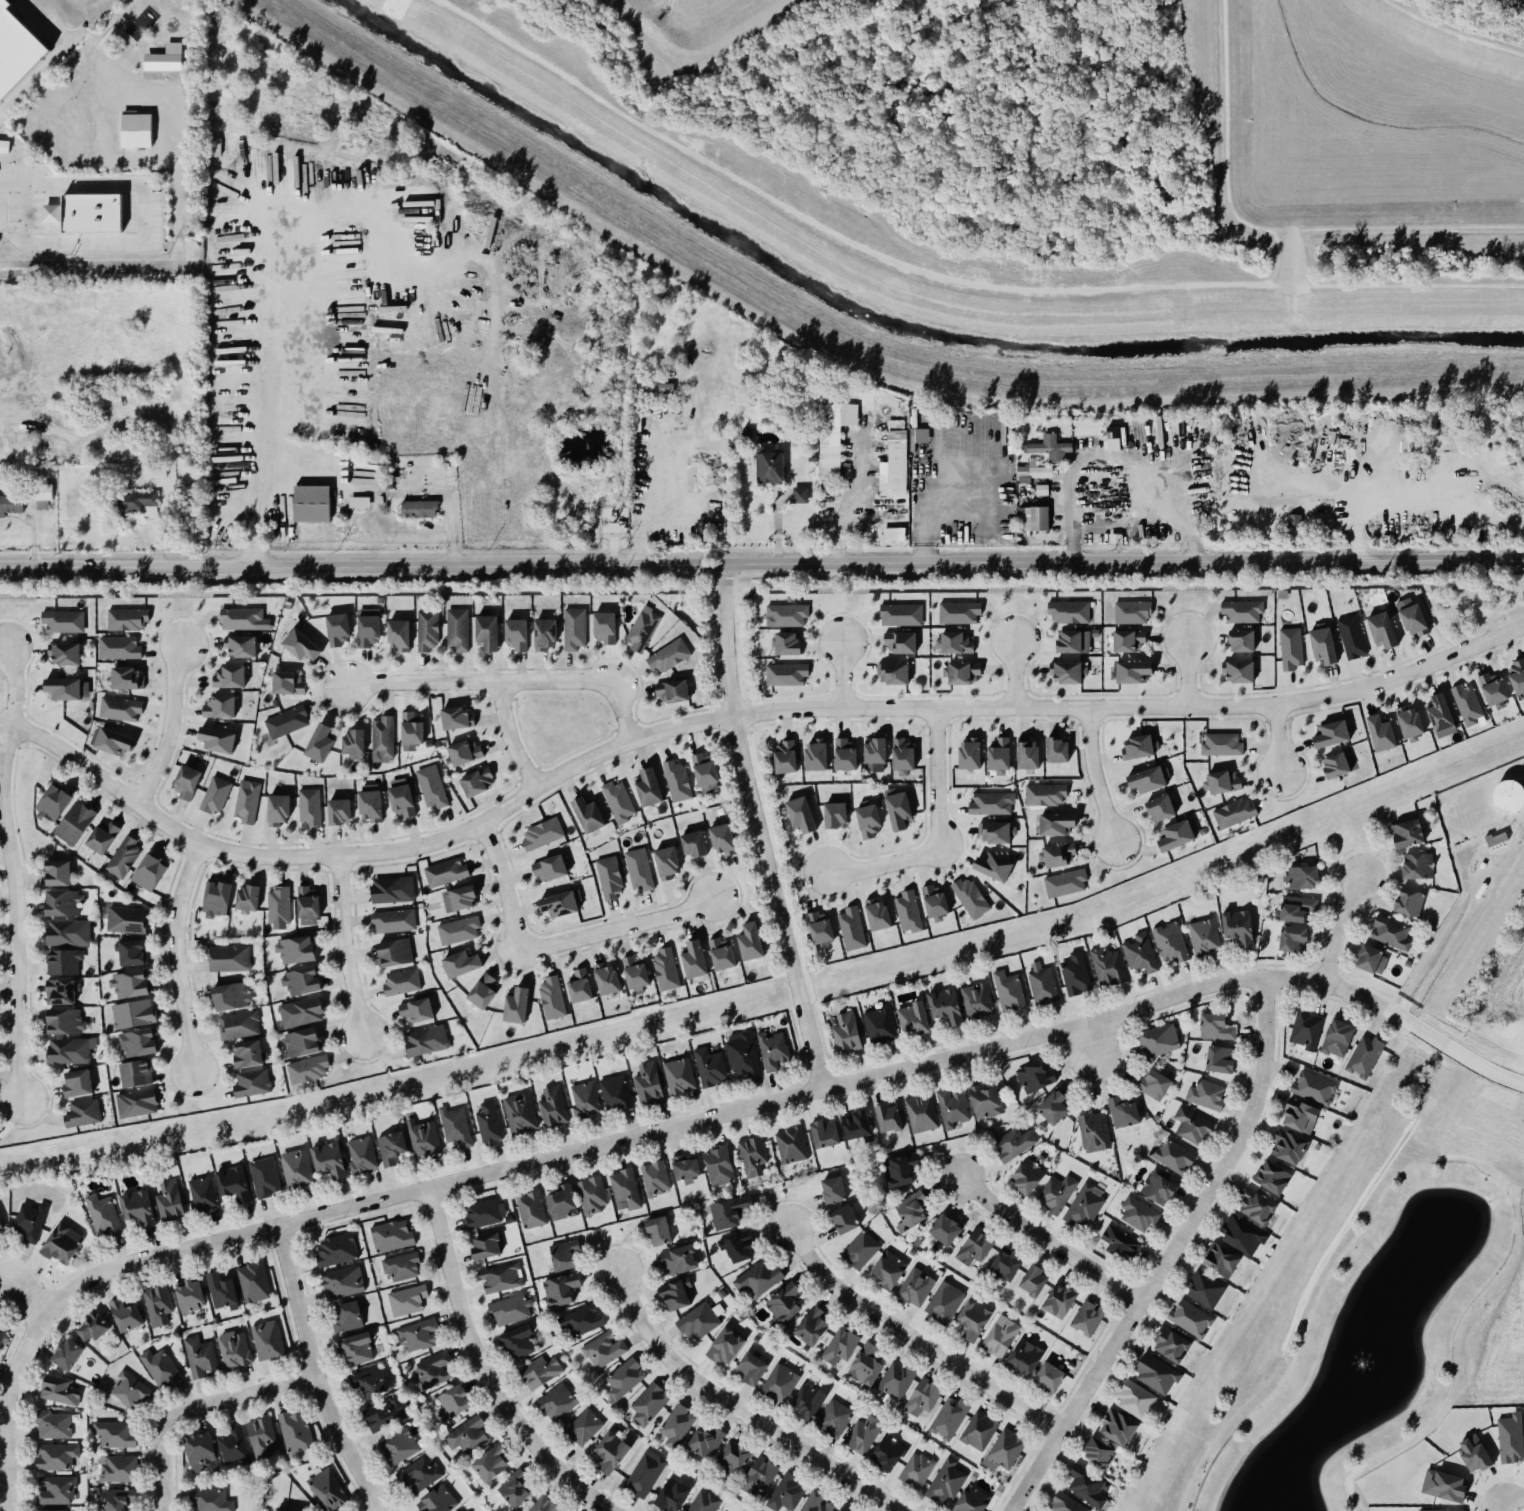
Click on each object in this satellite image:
building: (16, 50)
building: (164, 58)
road: (160, 95)
building: (136, 129)
building: (4, 146)
building: (212, 147)
road: (146, 190)
building: (52, 213)
building: (91, 213)
road: (24, 214)
road: (32, 243)
road: (99, 270)
road: (272, 384)
building: (657, 387)
road: (6, 408)
building: (849, 414)
building: (922, 435)
building: (1113, 438)
building: (829, 441)
building: (1049, 448)
road: (1115, 460)
building: (895, 463)
building: (769, 467)
building: (156, 469)
building: (1032, 471)
road: (655, 494)
building: (800, 495)
building: (42, 496)
building: (133, 501)
building: (358, 502)
road: (847, 502)
building: (312, 503)
building: (11, 504)
building: (418, 509)
building: (1033, 518)
building: (891, 533)
road: (761, 564)
building: (1241, 611)
building: (958, 612)
building: (1069, 612)
building: (1131, 612)
building: (901, 614)
building: (786, 615)
building: (1411, 617)
building: (126, 619)
building: (243, 619)
building: (63, 621)
building: (368, 627)
building: (604, 627)
building: (642, 628)
building: (337, 629)
building: (457, 629)
building: (574, 629)
building: (1382, 629)
building: (427, 631)
building: (487, 632)
building: (516, 634)
building: (399, 635)
building: (545, 635)
building: (1351, 637)
building: (1128, 640)
building: (1241, 640)
building: (901, 641)
building: (1073, 641)
building: (788, 643)
building: (956, 643)
building: (301, 645)
building: (1323, 645)
building: (241, 646)
building: (118, 648)
building: (1291, 648)
building: (64, 653)
building: (668, 656)
building: (1133, 671)
building: (1239, 671)
building: (1068, 672)
building: (894, 673)
building: (963, 673)
road: (1014, 673)
road: (1185, 673)
building: (786, 674)
road: (839, 674)
building: (229, 676)
building: (1516, 676)
building: (126, 678)
building: (287, 682)
road: (507, 685)
building: (63, 688)
building: (1492, 688)
road: (16, 689)
building: (672, 691)
building: (1467, 704)
building: (219, 706)
building: (120, 709)
road: (735, 716)
building: (1440, 716)
building: (456, 718)
building: (286, 722)
building: (1410, 723)
road: (171, 727)
building: (411, 730)
building: (1380, 733)
building: (1331, 734)
road: (1278, 738)
building: (217, 739)
building: (382, 739)
road: (507, 739)
building: (113, 742)
building: (320, 742)
building: (353, 744)
building: (1221, 744)
building: (1140, 747)
building: (1057, 749)
building: (464, 752)
building: (845, 754)
building: (969, 754)
building: (1027, 754)
building: (815, 755)
building: (874, 755)
building: (902, 755)
building: (998, 755)
building: (785, 757)
building: (1335, 765)
building: (705, 773)
road: (1094, 777)
building: (1146, 780)
building: (677, 781)
building: (1223, 781)
building: (186, 782)
building: (477, 782)
building: (431, 787)
building: (648, 788)
building: (1044, 794)
building: (215, 795)
building: (1509, 796)
building: (401, 797)
building: (247, 801)
building: (618, 801)
building: (53, 803)
building: (370, 803)
building: (989, 804)
building: (309, 806)
building: (1160, 808)
building: (278, 810)
building: (898, 810)
building: (338, 811)
building: (1233, 813)
building: (800, 814)
building: (588, 815)
building: (835, 815)
building: (868, 820)
building: (74, 823)
building: (1056, 823)
road: (756, 830)
building: (997, 832)
building: (1407, 833)
building: (542, 834)
building: (1175, 835)
building: (102, 836)
building: (1496, 838)
building: (722, 839)
road: (942, 840)
building: (693, 844)
building: (1058, 855)
building: (123, 856)
building: (667, 862)
building: (1417, 866)
building: (993, 867)
building: (549, 868)
building: (638, 869)
building: (150, 871)
building: (445, 872)
building: (58, 873)
building: (609, 877)
building: (1302, 877)
building: (1065, 883)
building: (391, 889)
building: (217, 898)
building: (247, 898)
building: (459, 898)
building: (970, 898)
building: (1409, 902)
building: (63, 903)
building: (560, 903)
building: (935, 903)
building: (308, 906)
building: (278, 908)
building: (1296, 908)
building: (907, 912)
road: (18, 914)
building: (877, 914)
building: (126, 920)
building: (393, 921)
building: (1238, 926)
building: (851, 928)
road: (1341, 929)
building: (458, 930)
building: (820, 930)
building: (68, 932)
building: (1391, 933)
building: (1204, 937)
building: (1292, 937)
building: (750, 942)
building: (1170, 942)
road: (1442, 942)
road: (551, 945)
road: (346, 948)
building: (295, 950)
building: (394, 952)
building: (132, 953)
building: (721, 953)
building: (1139, 953)
building: (229, 958)
road: (180, 959)
building: (1368, 959)
building: (694, 960)
building: (63, 961)
building: (460, 964)
building: (1107, 967)
building: (665, 969)
building: (635, 973)
building: (1075, 973)
building: (606, 979)
building: (301, 981)
building: (401, 982)
building: (1042, 983)
building: (129, 984)
road: (1343, 985)
building: (579, 986)
building: (483, 991)
building: (1008, 991)
building: (61, 992)
building: (231, 996)
building: (551, 998)
building: (977, 1000)
building: (516, 1006)
building: (945, 1006)
building: (416, 1011)
building: (300, 1012)
building: (133, 1013)
building: (913, 1018)
building: (65, 1021)
building: (238, 1025)
building: (879, 1025)
building: (1215, 1027)
building: (1306, 1029)
building: (845, 1032)
building: (1337, 1038)
building: (426, 1040)
building: (1158, 1040)
road: (1094, 1041)
building: (302, 1042)
building: (138, 1043)
building: (70, 1050)
building: (772, 1050)
building: (247, 1053)
building: (743, 1055)
building: (1364, 1056)
building: (1219, 1059)
road: (1462, 1059)
building: (710, 1067)
building: (307, 1069)
building: (135, 1073)
building: (679, 1076)
building: (1034, 1077)
building: (648, 1082)
building: (77, 1083)
building: (251, 1083)
building: (1151, 1084)
building: (1314, 1088)
building: (615, 1092)
building: (1206, 1094)
building: (585, 1099)
building: (985, 1102)
building: (136, 1103)
building: (552, 1107)
building: (1053, 1107)
building: (952, 1108)
building: (1123, 1112)
building: (82, 1113)
building: (519, 1113)
building: (921, 1113)
building: (1300, 1116)
building: (888, 1118)
building: (488, 1122)
building: (856, 1124)
building: (1191, 1125)
building: (455, 1126)
road: (657, 1129)
building: (1094, 1132)
building: (824, 1133)
building: (423, 1138)
building: (1014, 1142)
building: (790, 1145)
building: (391, 1147)
building: (1288, 1147)
building: (361, 1154)
building: (753, 1156)
building: (1172, 1156)
building: (329, 1159)
road: (1449, 1160)
building: (718, 1166)
building: (296, 1169)
building: (686, 1169)
building: (901, 1170)
building: (1026, 1176)
building: (264, 1177)
building: (1272, 1177)
building: (654, 1178)
building: (234, 1183)
building: (1157, 1188)
building: (624, 1189)
building: (833, 1190)
building: (1056, 1192)
building: (202, 1194)
building: (592, 1194)
building: (169, 1201)
building: (562, 1203)
building: (1085, 1205)
building: (1256, 1206)
building: (138, 1207)
building: (531, 1209)
building: (729, 1211)
building: (910, 1211)
building: (483, 1213)
building: (1138, 1214)
building: (103, 1215)
building: (844, 1219)
building: (30, 1221)
building: (1, 1228)
building: (945, 1229)
building: (658, 1231)
building: (1242, 1235)
building: (392, 1236)
road: (1054, 1237)
building: (62, 1242)
building: (1120, 1243)
building: (486, 1246)
building: (737, 1246)
building: (975, 1248)
building: (336, 1250)
building: (860, 1250)
road: (1176, 1254)
building: (564, 1255)
building: (679, 1260)
building: (1221, 1261)
building: (1005, 1265)
building: (400, 1267)
building: (888, 1269)
building: (501, 1278)
building: (758, 1278)
building: (1033, 1280)
building: (343, 1281)
building: (253, 1282)
building: (915, 1287)
building: (560, 1289)
building: (1205, 1289)
building: (222, 1291)
road: (29, 1294)
building: (676, 1294)
building: (190, 1297)
building: (407, 1300)
building: (1059, 1300)
building: (943, 1302)
building: (784, 1303)
building: (157, 1304)
building: (508, 1310)
building: (125, 1315)
building: (346, 1317)
building: (1087, 1318)
building: (1190, 1318)
building: (973, 1319)
building: (581, 1320)
building: (700, 1320)
park: (1359, 1324)
building: (812, 1326)
building: (92, 1327)
road: (914, 1331)
building: (2, 1332)
building: (418, 1334)
building: (1000, 1336)
building: (267, 1341)
building: (518, 1343)
building: (1170, 1344)
building: (840, 1345)
building: (725, 1346)
building: (356, 1349)
building: (604, 1349)
building: (233, 1350)
building: (67, 1354)
building: (200, 1357)
building: (1024, 1357)
fountain: (1360, 1363)
building: (866, 1364)
building: (160, 1368)
building: (750, 1368)
road: (492, 1369)
building: (432, 1370)
building: (540, 1372)
road: (322, 1373)
building: (1156, 1374)
building: (1049, 1376)
building: (624, 1378)
building: (368, 1381)
building: (780, 1383)
building: (895, 1383)
building: (59, 1390)
building: (131, 1390)
building: (922, 1396)
building: (807, 1400)
building: (1135, 1400)
building: (452, 1402)
building: (557, 1402)
building: (648, 1402)
road: (201, 1403)
road: (13, 1405)
road: (748, 1408)
building: (384, 1414)
building: (948, 1417)
building: (834, 1418)
building: (53, 1425)
building: (676, 1425)
building: (583, 1426)
building: (1117, 1427)
building: (294, 1431)
building: (978, 1431)
building: (115, 1433)
building: (862, 1434)
building: (467, 1435)
building: (262, 1437)
building: (1510, 1438)
building: (705, 1442)
building: (233, 1445)
building: (398, 1446)
building: (1004, 1448)
building: (199, 1451)
building: (611, 1451)
building: (1098, 1452)
building: (887, 1453)
building: (1474, 1453)
building: (57, 1456)
building: (733, 1457)
building: (490, 1464)
building: (117, 1468)
building: (916, 1470)
building: (419, 1473)
building: (645, 1473)
building: (759, 1475)
building: (945, 1481)
building: (1089, 1486)
building: (1445, 1486)
building: (56, 1490)
building: (326, 1490)
building: (515, 1490)
building: (786, 1493)
building: (671, 1495)
road: (1510, 1498)
building: (118, 1499)
building: (210, 1500)
building: (437, 1500)
building: (971, 1500)
building: (703, 1501)
building: (815, 1502)
building: (544, 1504)
building: (1066, 1504)
building: (842, 1509)
building: (50, 1510)
building: (286, 1510)

